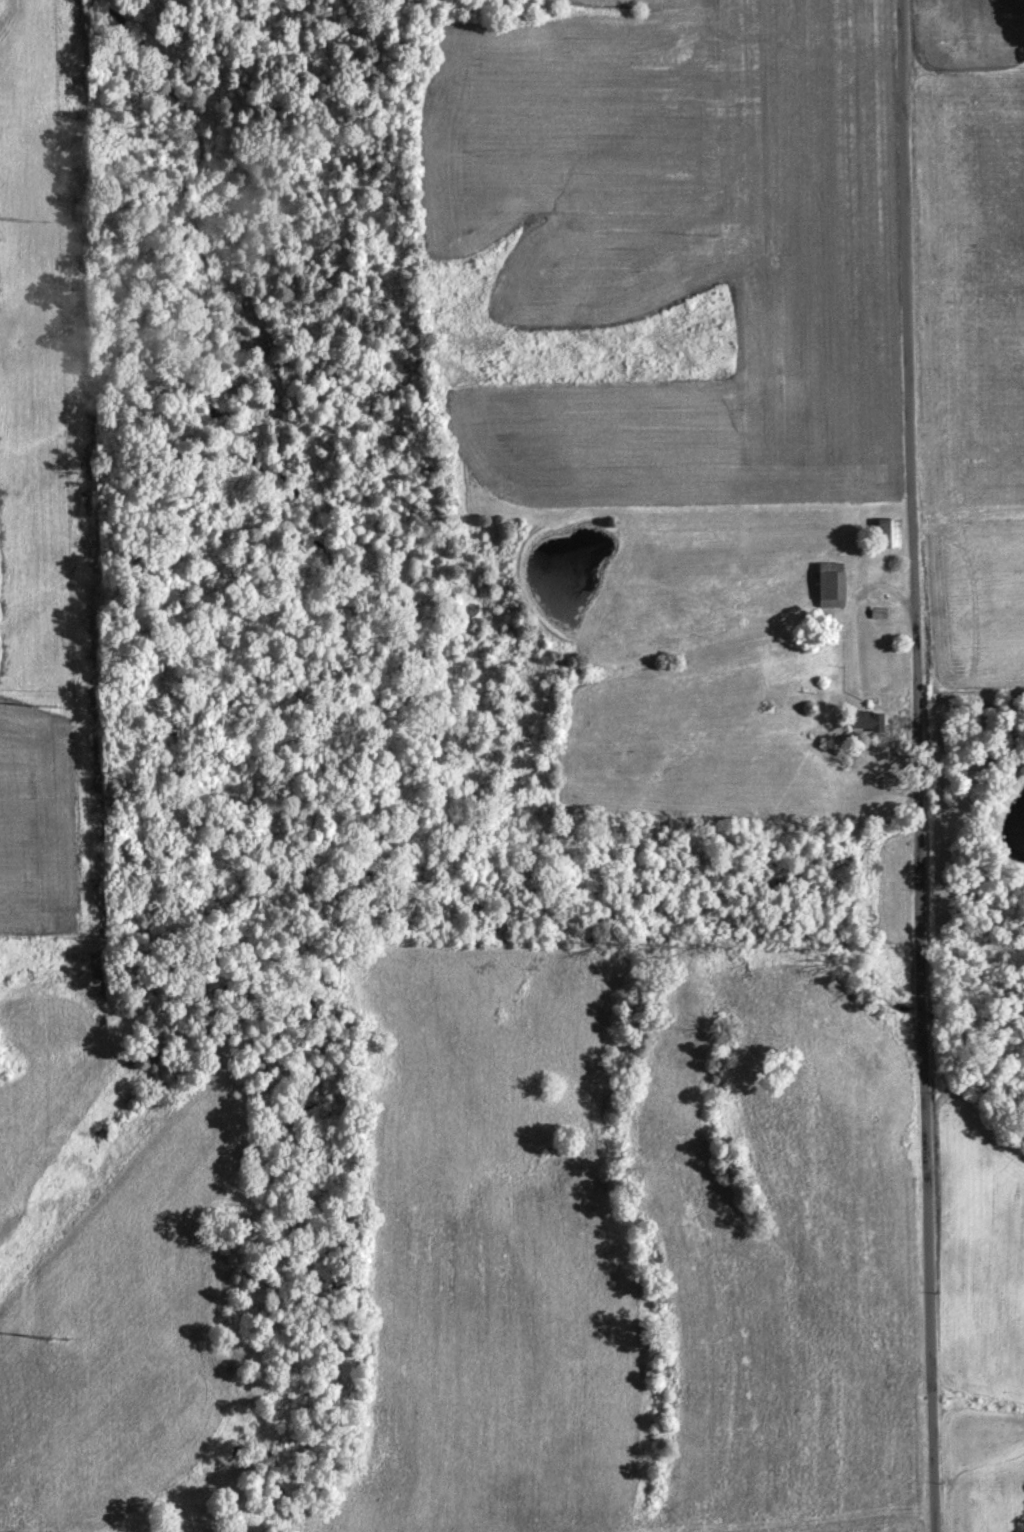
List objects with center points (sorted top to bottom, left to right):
power tower: (29, 220)
building: (880, 538)
power tower: (43, 706)
building: (860, 725)
road: (918, 766)
power tower: (55, 1340)

